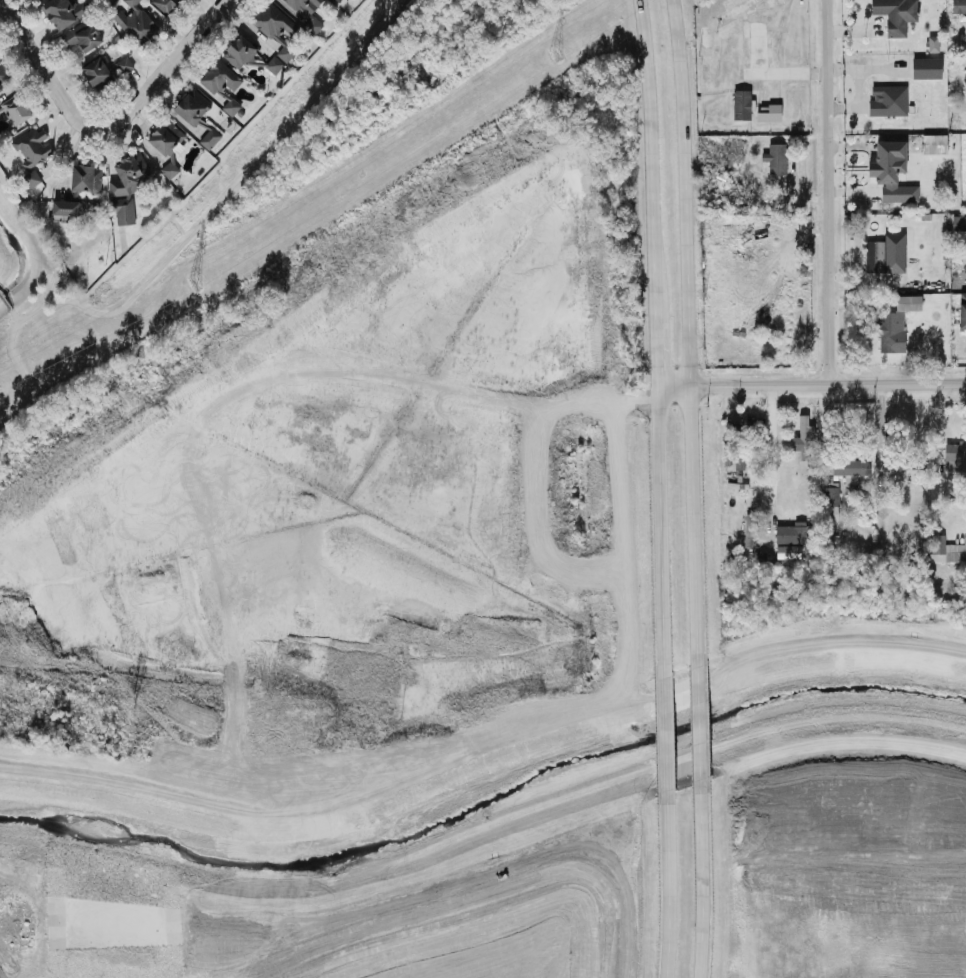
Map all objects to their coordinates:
building: (32, 0)
building: (336, 1)
building: (166, 5)
building: (958, 6)
building: (62, 12)
building: (303, 13)
building: (894, 15)
building: (134, 23)
building: (273, 34)
building: (706, 37)
building: (959, 38)
building: (79, 39)
building: (932, 45)
building: (754, 50)
building: (238, 53)
power tower: (553, 54)
road: (47, 65)
building: (122, 65)
building: (925, 68)
road: (165, 72)
building: (94, 73)
building: (2, 75)
building: (221, 85)
building: (0, 88)
building: (887, 100)
building: (740, 105)
building: (16, 112)
building: (195, 116)
building: (767, 116)
road: (648, 136)
building: (164, 138)
building: (933, 144)
building: (31, 147)
building: (775, 159)
building: (888, 179)
building: (31, 180)
building: (84, 180)
building: (125, 187)
road: (824, 193)
building: (63, 209)
building: (964, 223)
building: (878, 256)
power tower: (193, 284)
road: (655, 297)
building: (962, 315)
building: (893, 323)
road: (686, 333)
road: (656, 354)
road: (811, 386)
building: (803, 437)
road: (937, 437)
road: (771, 448)
building: (955, 457)
building: (737, 462)
building: (903, 464)
building: (849, 468)
road: (877, 468)
building: (828, 496)
building: (901, 521)
road: (659, 532)
building: (792, 535)
building: (936, 544)
building: (786, 552)
road: (696, 723)
road: (663, 733)
river: (486, 801)
road: (699, 879)
road: (668, 884)

